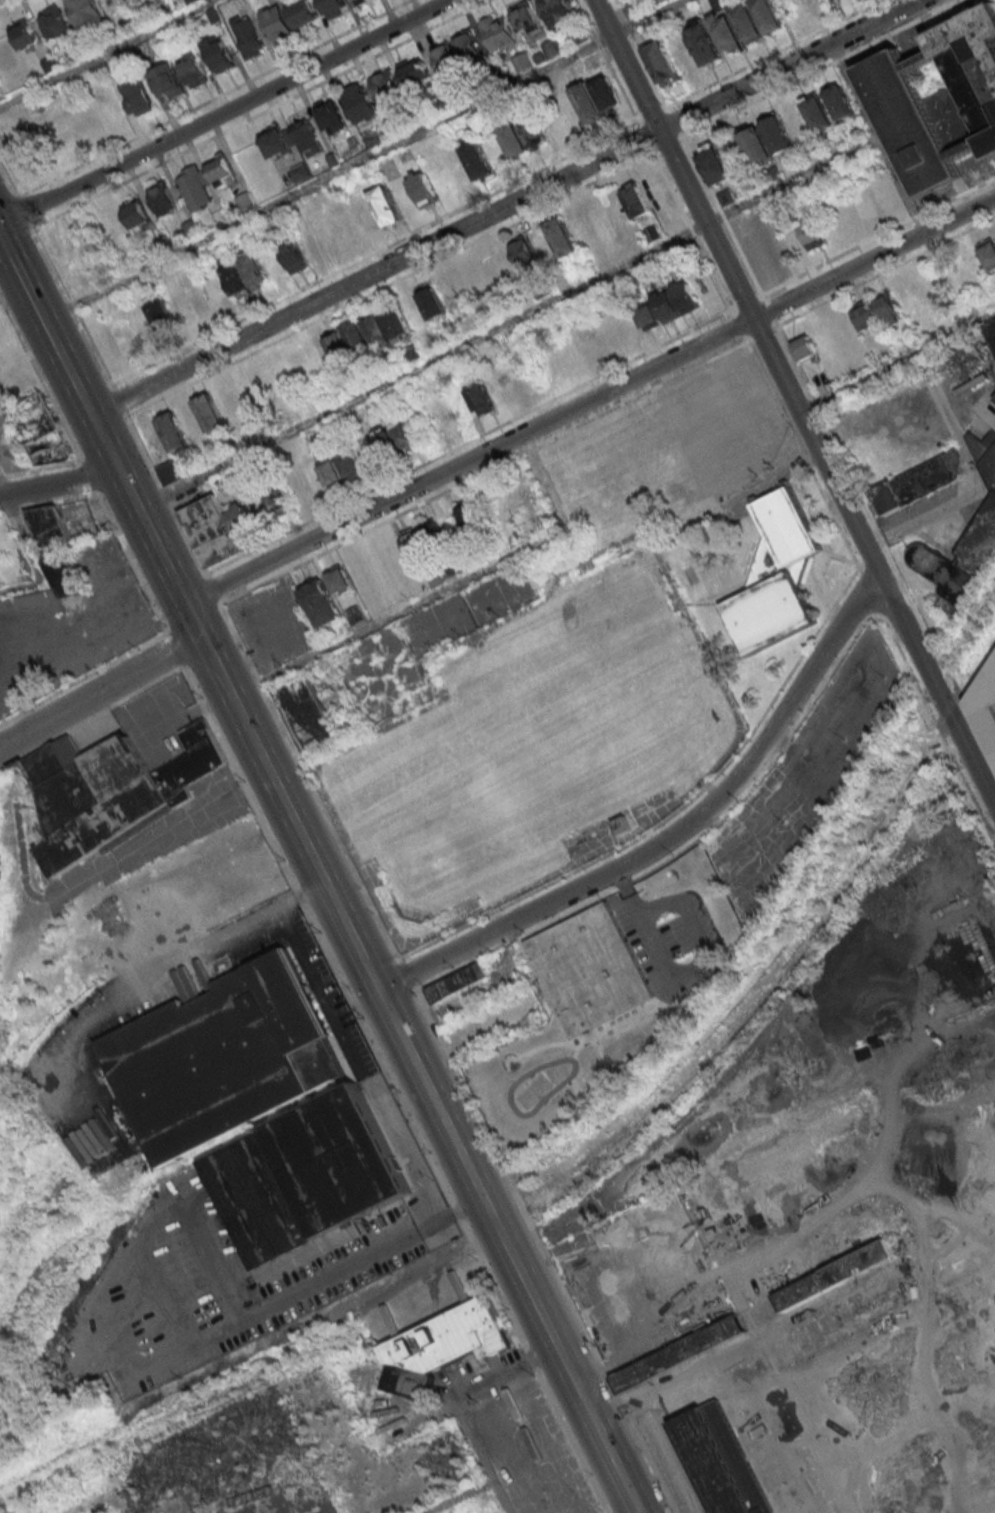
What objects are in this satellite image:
building: (358, 1)
building: (240, 3)
building: (334, 7)
building: (632, 9)
building: (558, 11)
building: (85, 14)
building: (304, 14)
building: (524, 15)
building: (767, 15)
building: (746, 21)
building: (54, 22)
building: (276, 25)
building: (499, 32)
building: (725, 32)
building: (23, 34)
building: (248, 35)
building: (578, 36)
building: (703, 42)
building: (468, 45)
road: (104, 51)
building: (218, 53)
building: (447, 58)
building: (661, 62)
building: (50, 63)
building: (192, 70)
building: (416, 75)
building: (167, 80)
building: (386, 85)
road: (855, 90)
building: (135, 94)
building: (597, 98)
building: (939, 99)
building: (839, 101)
building: (360, 103)
road: (224, 112)
building: (817, 113)
building: (332, 117)
building: (777, 135)
building: (524, 136)
building: (307, 138)
building: (372, 139)
building: (275, 141)
building: (756, 147)
road: (362, 159)
building: (477, 160)
building: (714, 165)
building: (221, 169)
building: (300, 174)
building: (195, 187)
building: (423, 189)
building: (162, 197)
building: (636, 200)
building: (384, 204)
road: (503, 207)
building: (137, 215)
building: (191, 228)
building: (811, 234)
building: (562, 237)
building: (336, 245)
building: (523, 253)
building: (988, 253)
building: (294, 257)
road: (15, 266)
building: (244, 273)
road: (554, 299)
building: (677, 300)
building: (432, 302)
building: (888, 308)
building: (171, 310)
building: (646, 315)
building: (866, 315)
building: (387, 326)
building: (992, 334)
building: (347, 343)
building: (804, 347)
road: (899, 363)
building: (488, 393)
road: (796, 397)
road: (588, 399)
building: (209, 412)
building: (172, 431)
building: (397, 440)
building: (985, 456)
building: (350, 463)
building: (331, 472)
building: (170, 474)
road: (58, 483)
building: (921, 483)
building: (277, 503)
building: (469, 514)
building: (50, 529)
building: (219, 529)
building: (423, 539)
road: (32, 545)
building: (961, 568)
building: (64, 575)
building: (773, 577)
building: (340, 580)
road: (445, 589)
building: (321, 602)
road: (712, 604)
building: (355, 614)
park: (439, 625)
road: (99, 692)
park: (569, 698)
building: (987, 703)
building: (304, 715)
road: (334, 754)
building: (192, 764)
road: (708, 787)
building: (95, 800)
road: (176, 824)
building: (623, 826)
road: (672, 833)
building: (0, 852)
road: (566, 874)
road: (335, 907)
road: (380, 925)
road: (401, 950)
building: (591, 968)
road: (162, 977)
road: (406, 977)
road: (685, 979)
building: (456, 982)
traffic signals: (376, 989)
building: (220, 1057)
road: (358, 1065)
building: (312, 1186)
road: (541, 1251)
road: (302, 1287)
building: (442, 1344)
road: (497, 1376)
road: (480, 1454)
building: (722, 1459)
road: (461, 1497)

